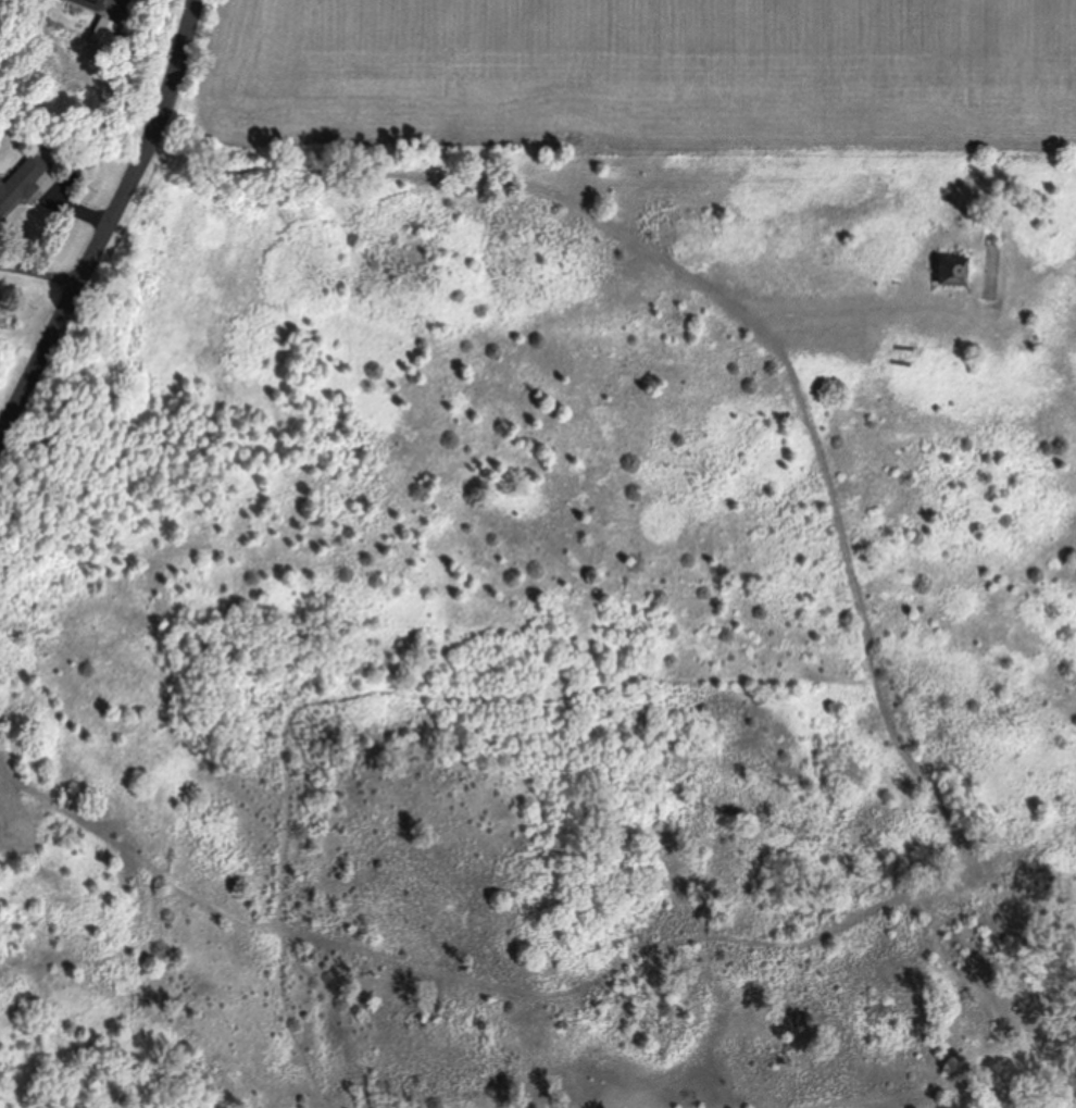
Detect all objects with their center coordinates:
building: (89, 3)
crop: (634, 77)
building: (25, 185)
road: (107, 222)

